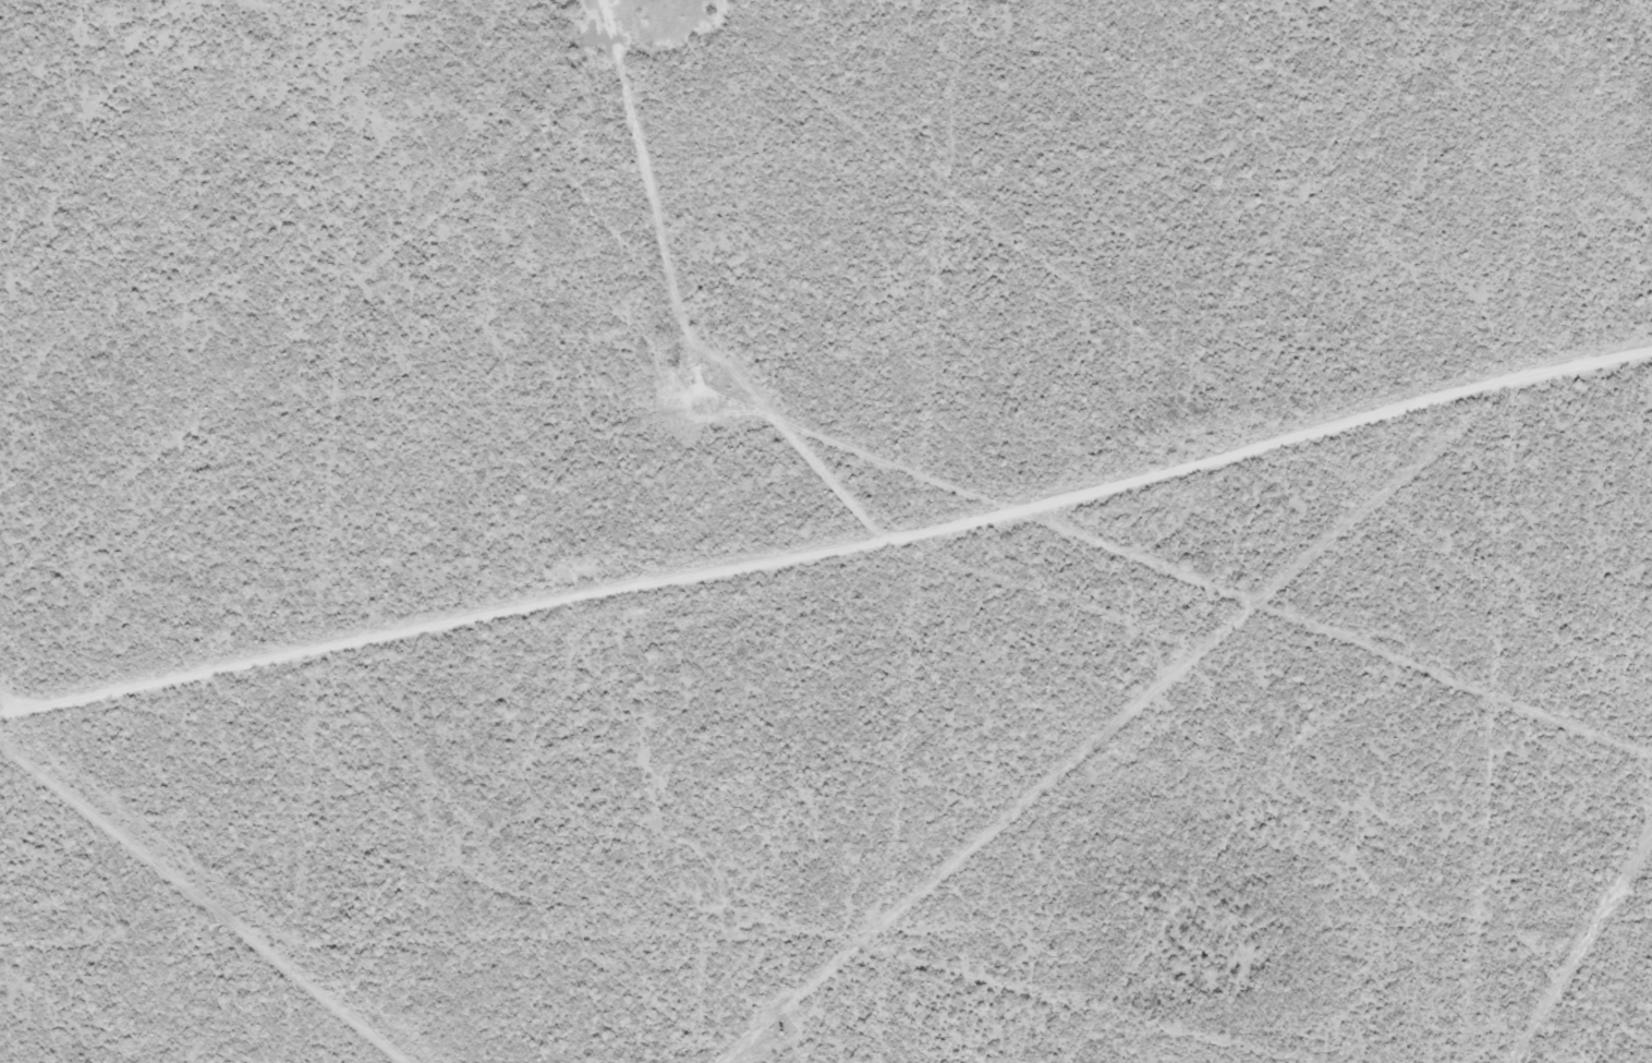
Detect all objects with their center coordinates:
road: (828, 571)
road: (971, 1000)

